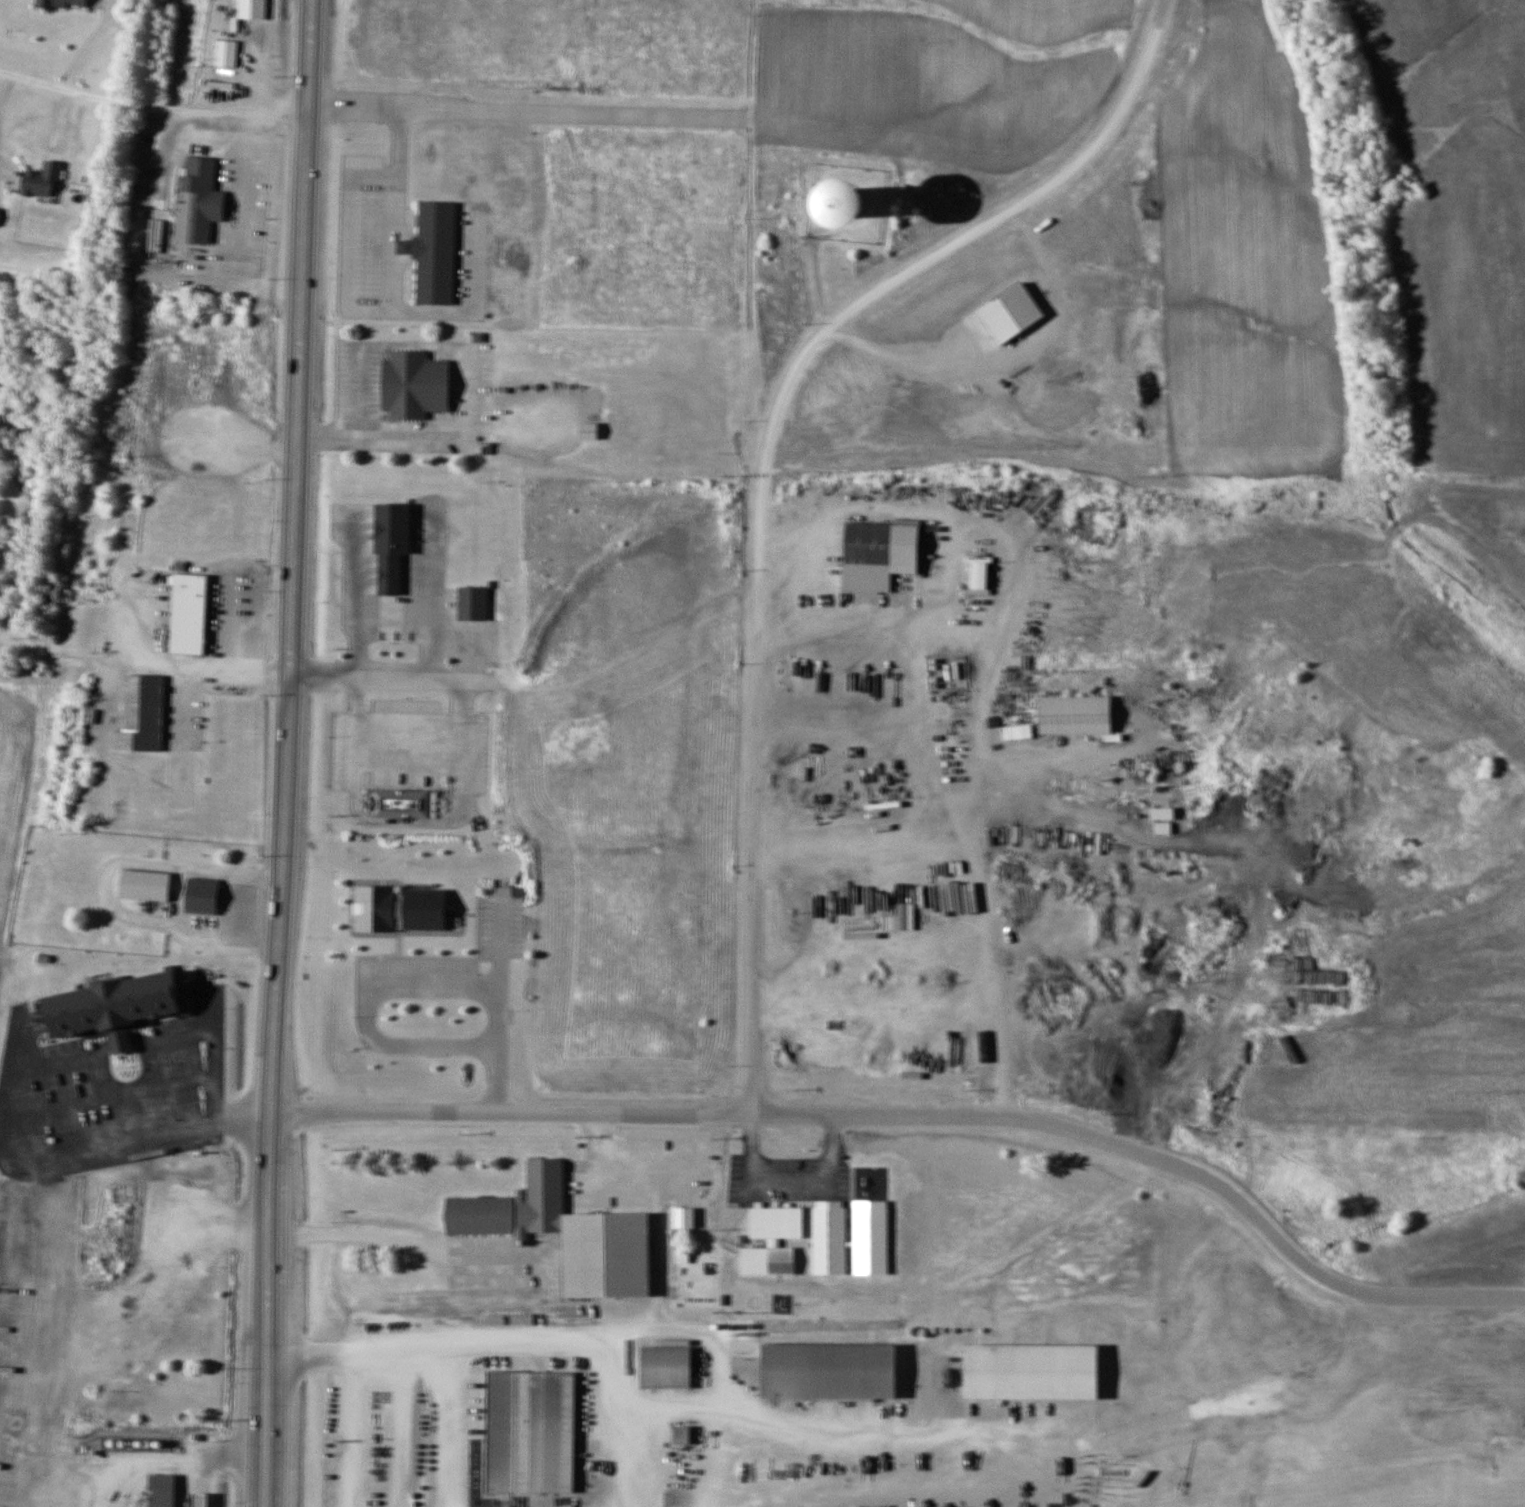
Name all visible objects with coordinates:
building: (60, 3)
building: (251, 9)
building: (226, 53)
road: (150, 107)
building: (42, 179)
building: (197, 192)
water tower: (847, 196)
building: (850, 197)
building: (0, 209)
road: (301, 237)
building: (435, 245)
building: (413, 380)
building: (589, 431)
road: (764, 468)
building: (394, 537)
building: (878, 550)
building: (979, 575)
building: (192, 607)
building: (143, 709)
building: (1076, 709)
building: (408, 797)
building: (145, 886)
building: (202, 897)
building: (403, 904)
building: (530, 984)
road: (276, 991)
building: (130, 997)
road: (103, 1080)
road: (54, 1107)
road: (925, 1117)
road: (246, 1118)
road: (108, 1145)
building: (519, 1200)
building: (779, 1218)
building: (116, 1230)
building: (832, 1235)
building: (875, 1235)
building: (616, 1251)
building: (770, 1255)
building: (668, 1362)
building: (832, 1366)
building: (1039, 1376)
building: (538, 1428)
building: (682, 1435)
building: (161, 1491)
building: (199, 1501)

